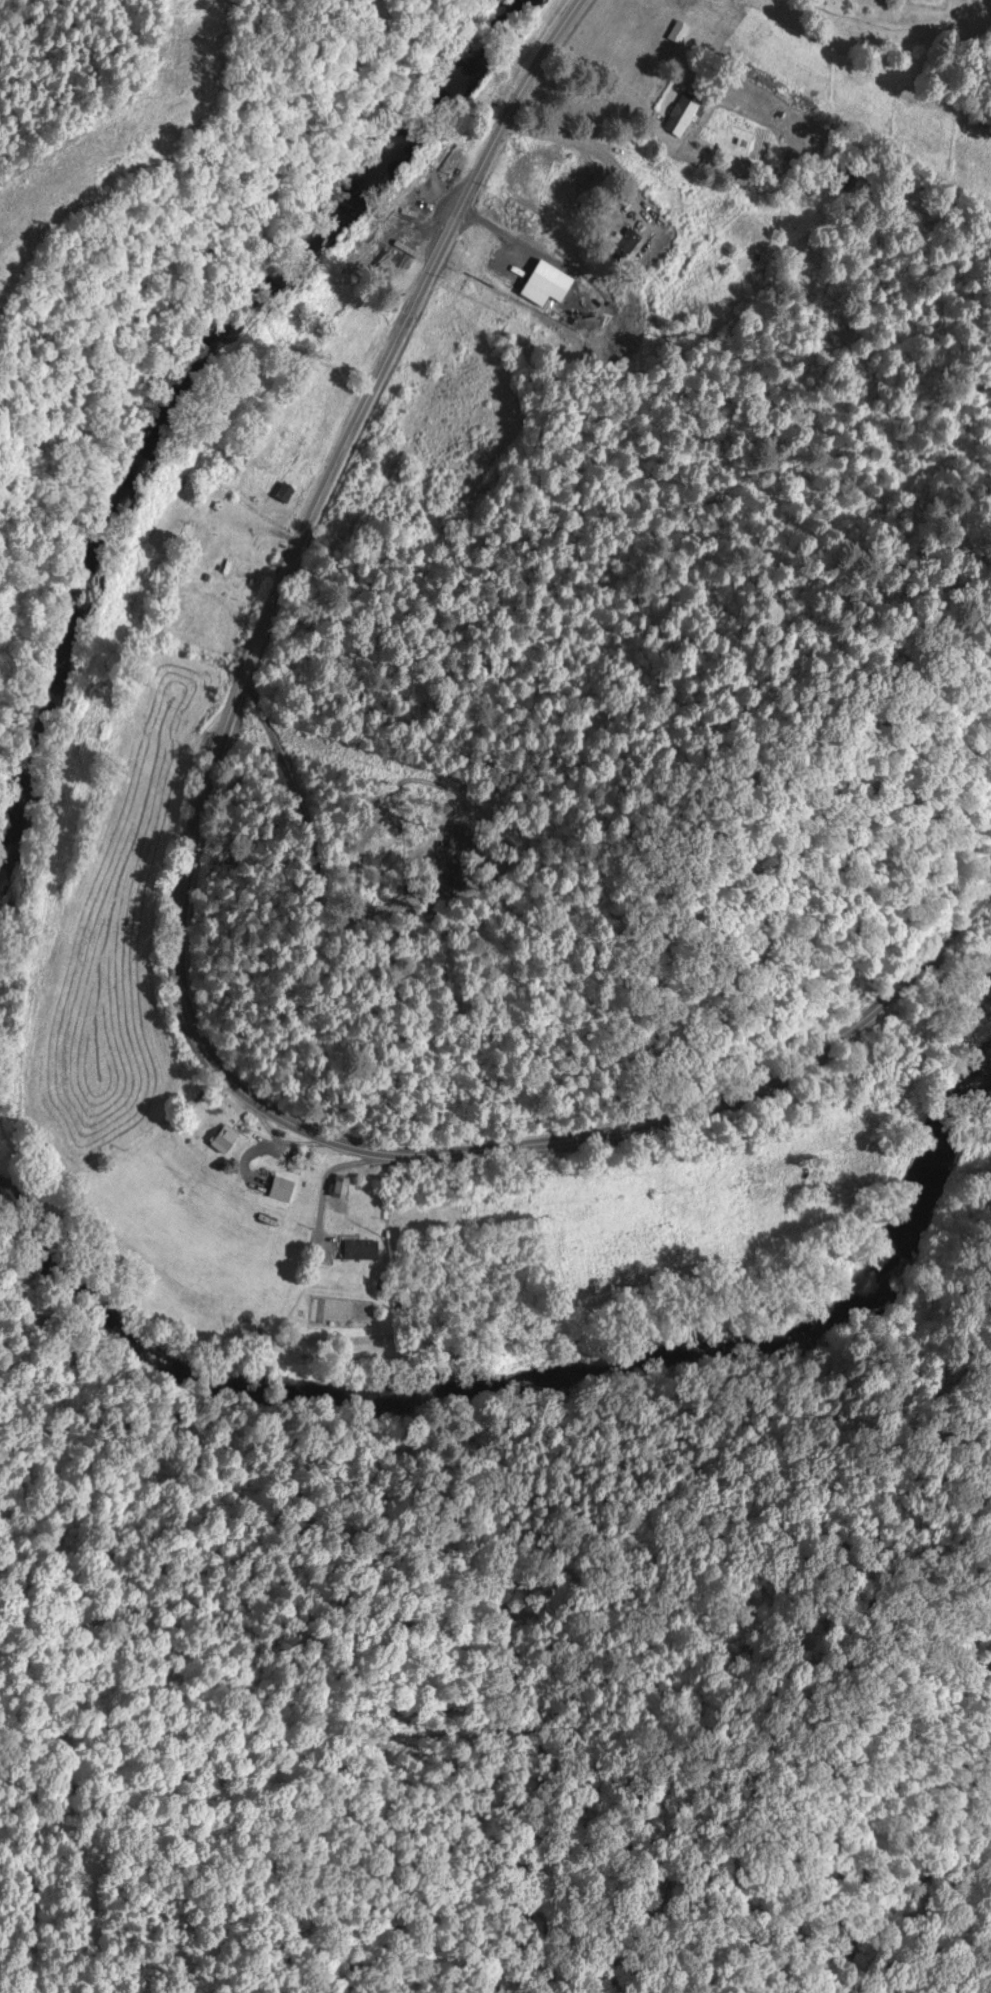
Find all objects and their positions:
building: (683, 30)
building: (688, 112)
river: (177, 389)
building: (291, 491)
building: (245, 572)
building: (466, 834)
building: (459, 873)
road: (184, 929)
building: (230, 1138)
road: (330, 1182)
building: (348, 1187)
building: (288, 1188)
building: (367, 1247)
river: (540, 1375)

